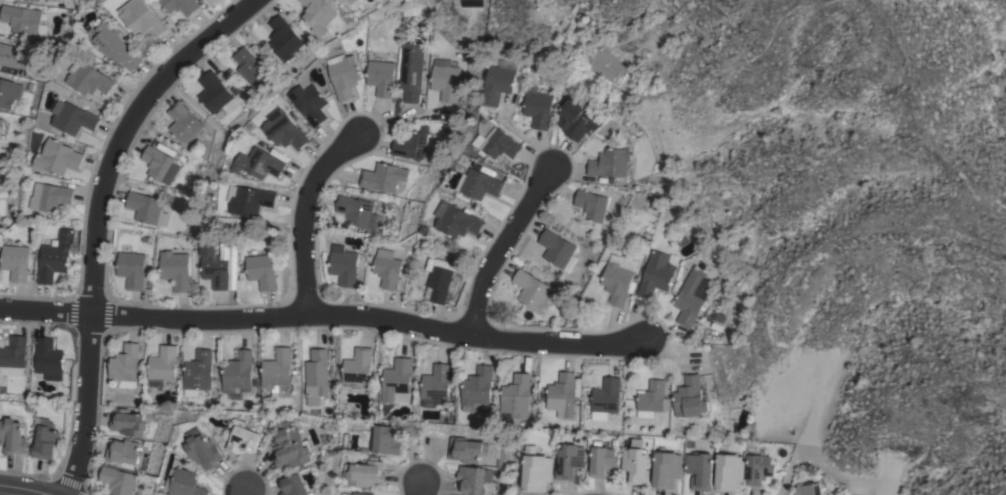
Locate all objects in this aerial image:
building: (34, 1)
building: (351, 1)
building: (180, 5)
building: (318, 16)
building: (143, 18)
building: (23, 21)
building: (285, 39)
building: (115, 47)
building: (10, 55)
building: (249, 66)
building: (411, 71)
building: (343, 74)
building: (381, 77)
building: (89, 78)
building: (445, 79)
building: (498, 84)
building: (9, 92)
building: (215, 92)
building: (310, 103)
building: (538, 108)
building: (73, 118)
building: (574, 119)
building: (1, 122)
building: (184, 122)
building: (285, 129)
road: (522, 137)
building: (501, 144)
building: (410, 145)
building: (58, 157)
building: (157, 162)
building: (260, 163)
building: (610, 163)
building: (383, 177)
building: (482, 183)
building: (50, 196)
building: (251, 200)
building: (591, 205)
building: (146, 209)
building: (355, 211)
road: (95, 217)
road: (303, 217)
building: (458, 220)
road: (499, 247)
building: (556, 248)
building: (55, 256)
building: (15, 262)
building: (228, 263)
building: (343, 265)
building: (214, 266)
building: (387, 268)
building: (132, 269)
building: (175, 269)
building: (261, 271)
building: (656, 274)
building: (439, 278)
building: (619, 278)
building: (531, 290)
building: (692, 297)
road: (323, 315)
building: (14, 356)
building: (48, 357)
building: (163, 363)
building: (358, 365)
building: (125, 366)
building: (198, 370)
building: (278, 371)
building: (237, 375)
building: (316, 376)
building: (397, 380)
building: (436, 382)
building: (562, 388)
building: (478, 389)
building: (516, 397)
building: (605, 398)
building: (689, 398)
building: (652, 399)
building: (128, 423)
building: (12, 436)
building: (242, 437)
building: (45, 439)
building: (386, 440)
building: (290, 447)
building: (203, 448)
building: (465, 449)
building: (122, 451)
building: (570, 461)
building: (603, 461)
building: (635, 465)
building: (667, 469)
building: (759, 469)
building: (537, 470)
building: (700, 470)
building: (729, 471)
building: (366, 473)
building: (473, 479)
building: (118, 480)
building: (185, 483)
building: (293, 485)
road: (23, 488)
road: (417, 488)
road: (243, 489)
building: (810, 489)
building: (359, 494)

